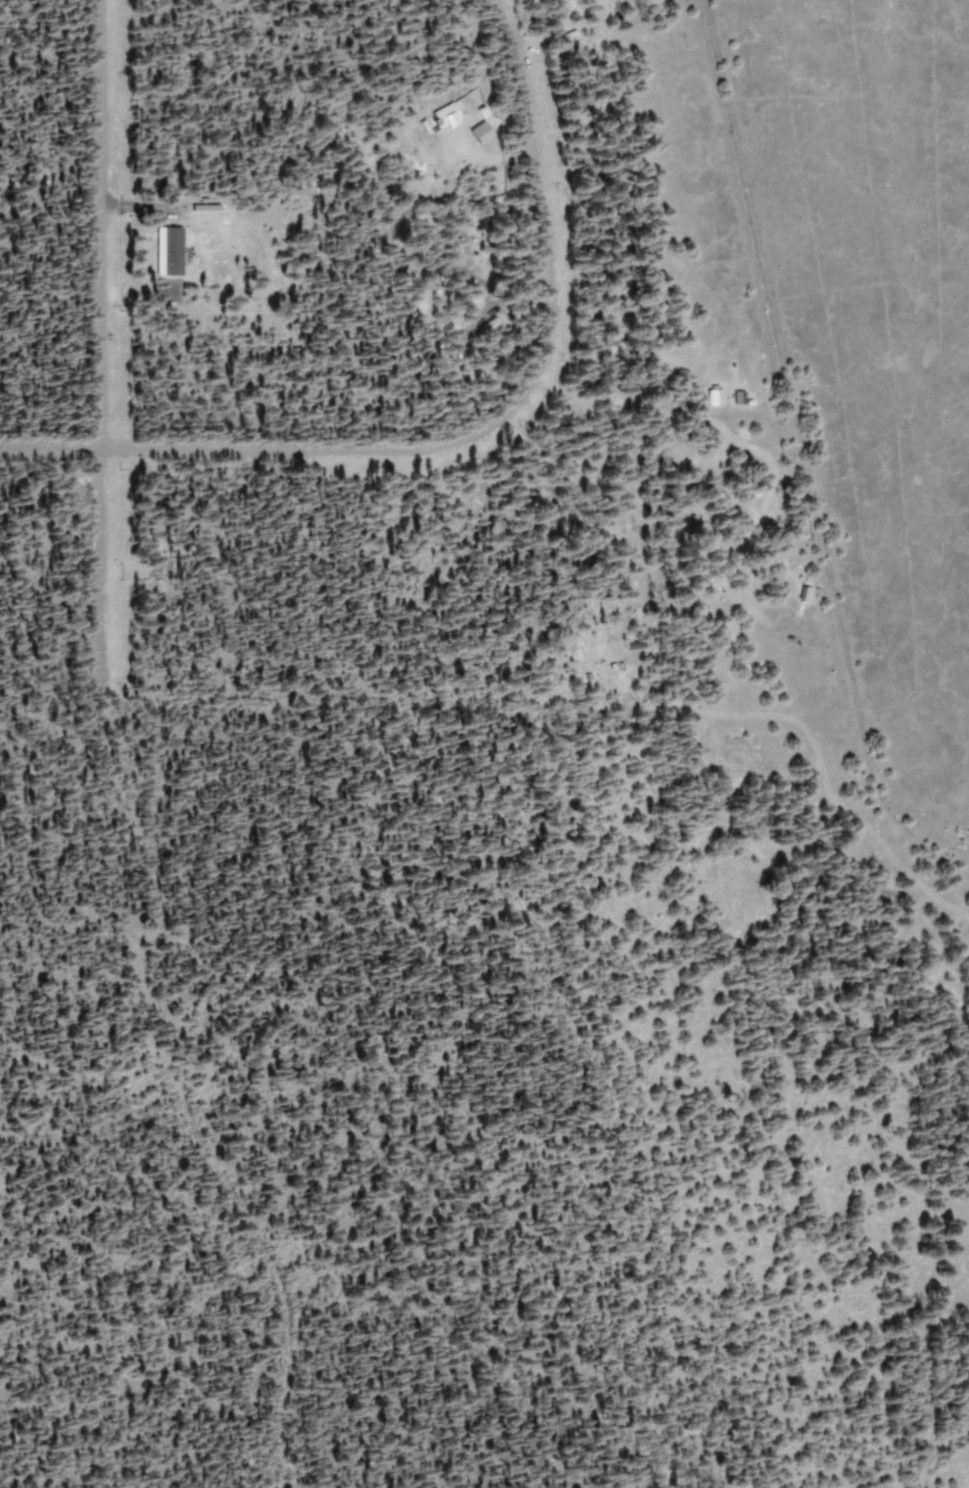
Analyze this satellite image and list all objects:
building: (440, 115)
building: (475, 132)
building: (193, 206)
building: (165, 251)
road: (97, 344)
building: (709, 397)
road: (508, 406)
road: (49, 449)

